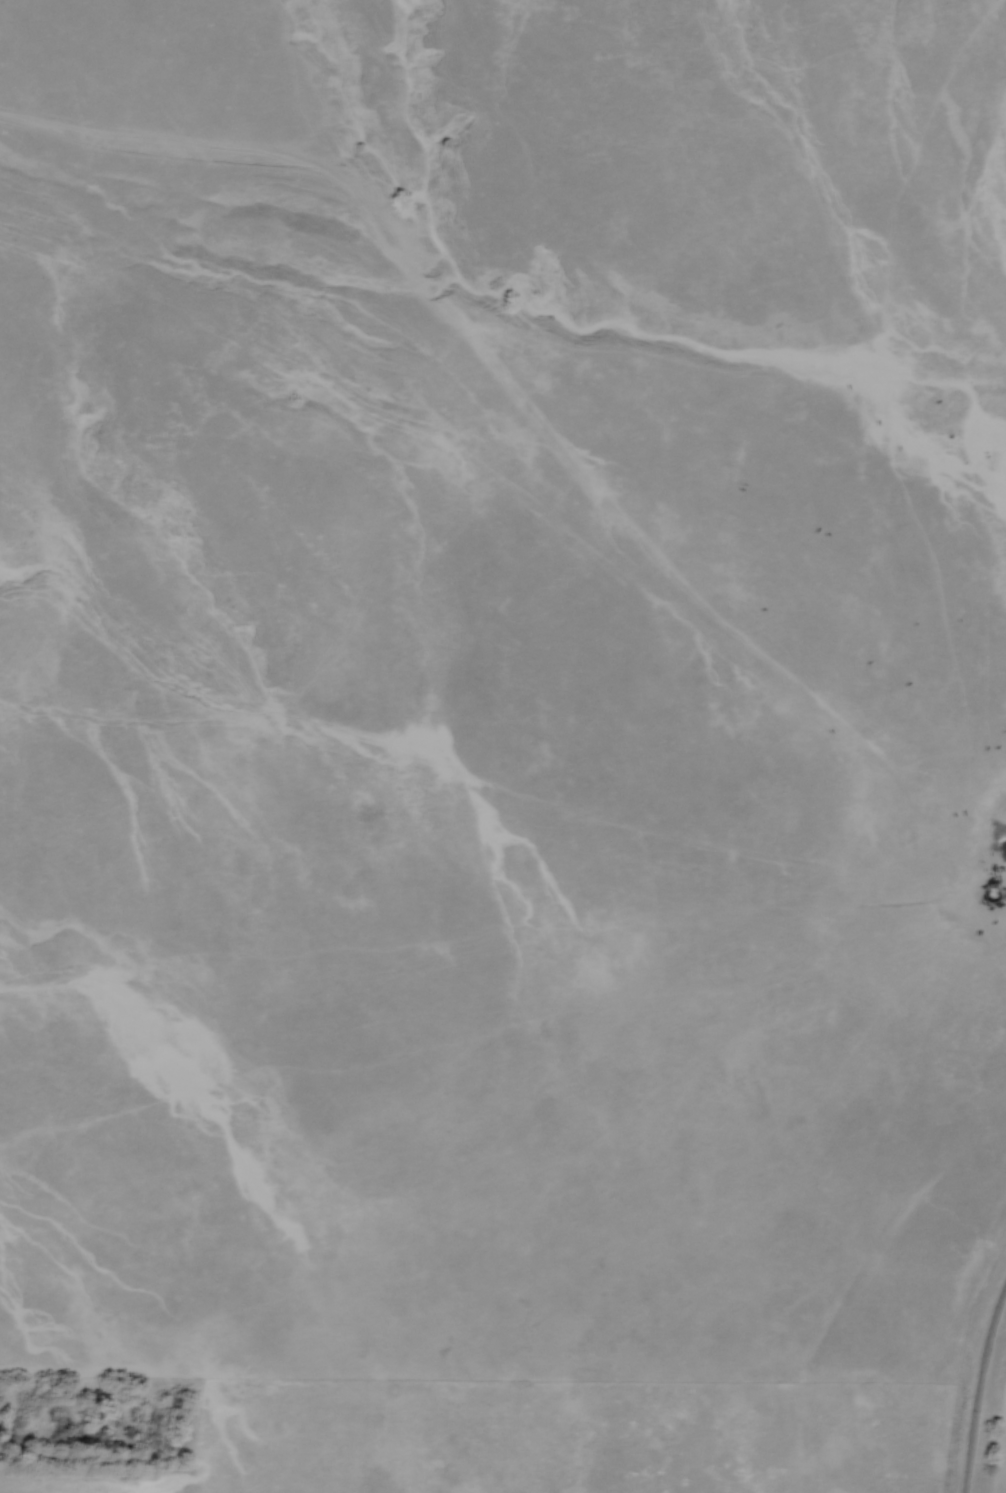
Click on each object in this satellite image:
road: (978, 1385)

